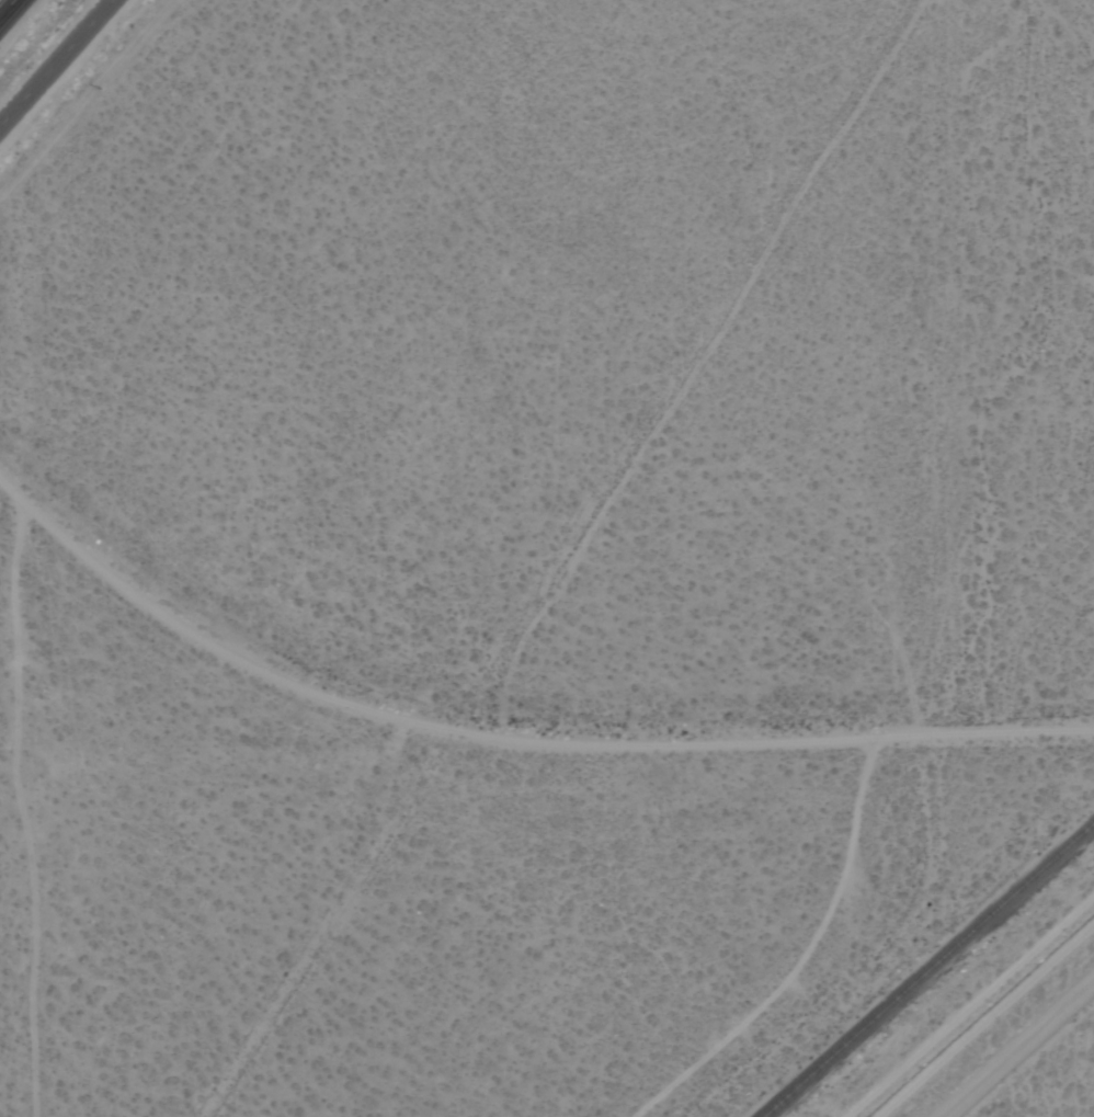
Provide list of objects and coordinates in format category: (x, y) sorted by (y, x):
road: (13, 14)
road: (57, 65)
road: (509, 738)
railway: (930, 971)
airport: (1018, 1050)
road: (1018, 1050)

